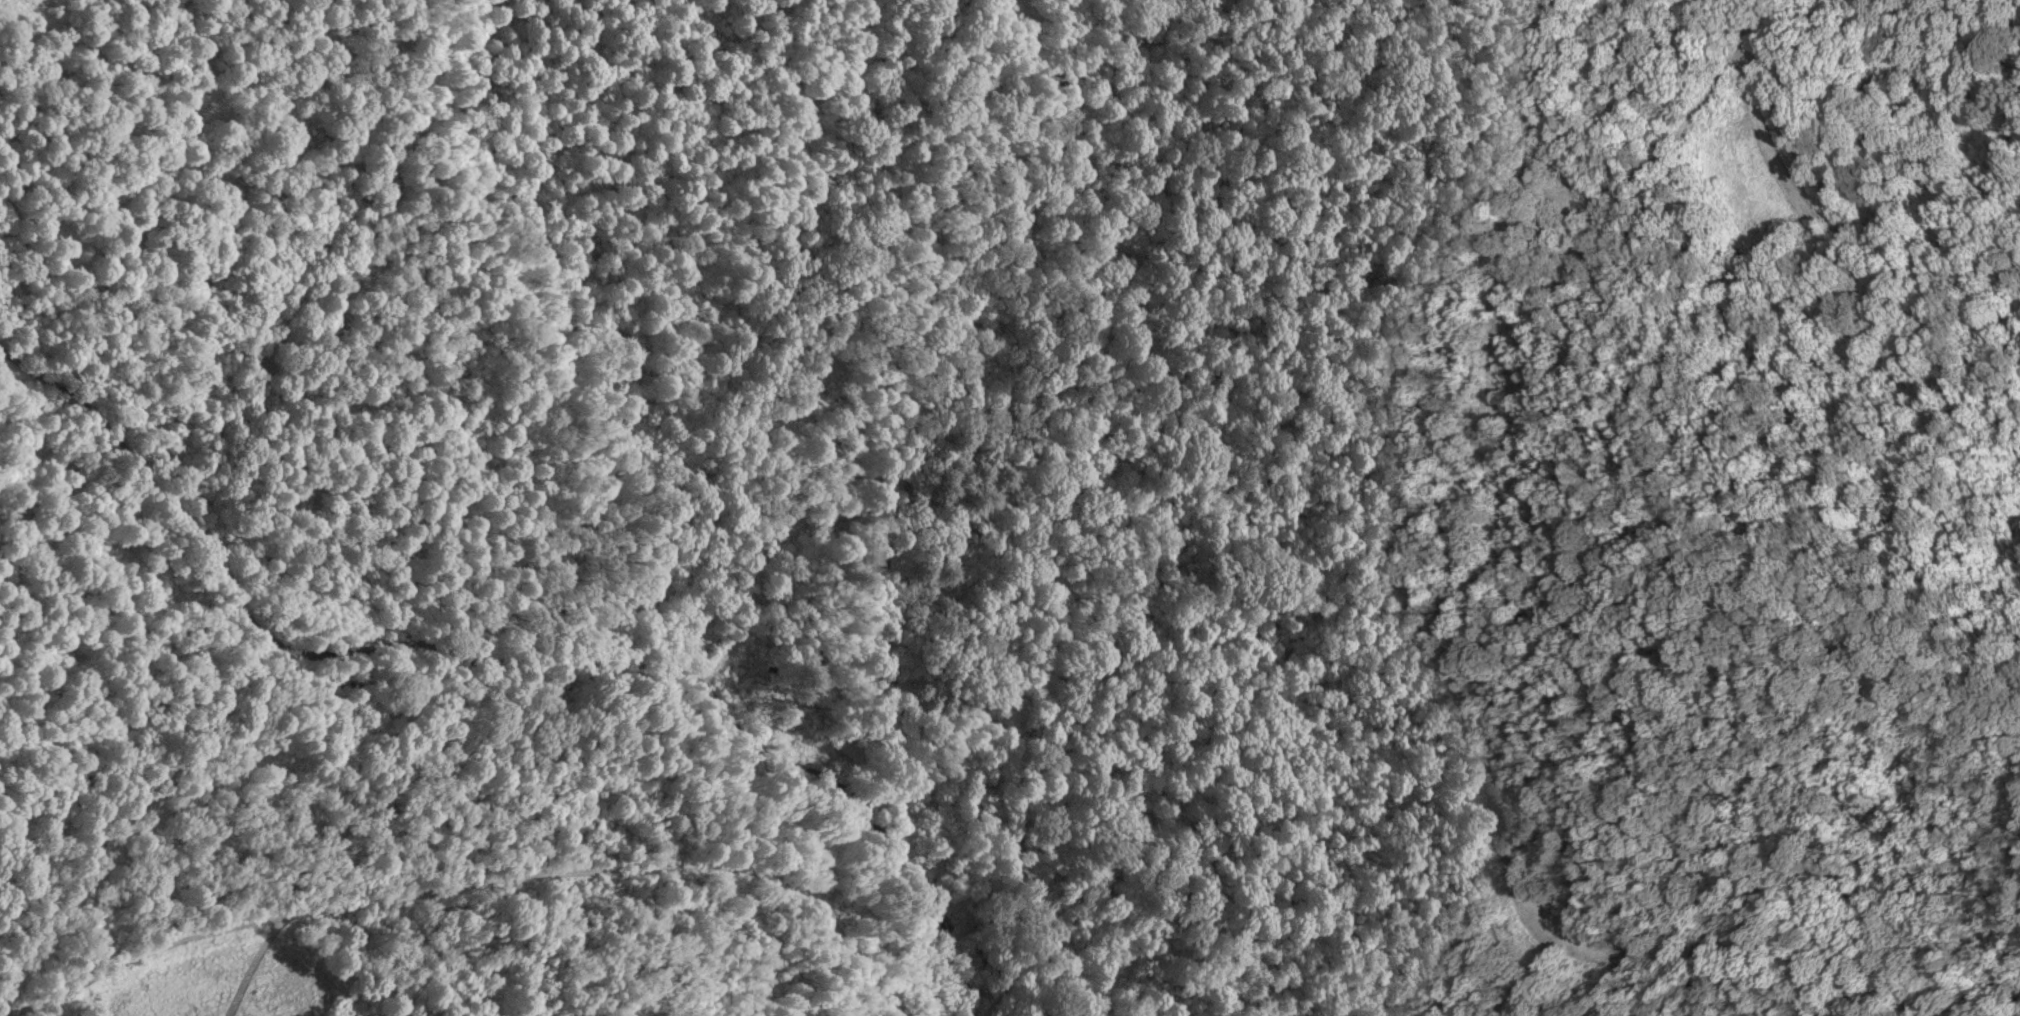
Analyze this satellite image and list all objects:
road: (309, 647)
road: (875, 839)
park: (1457, 871)

